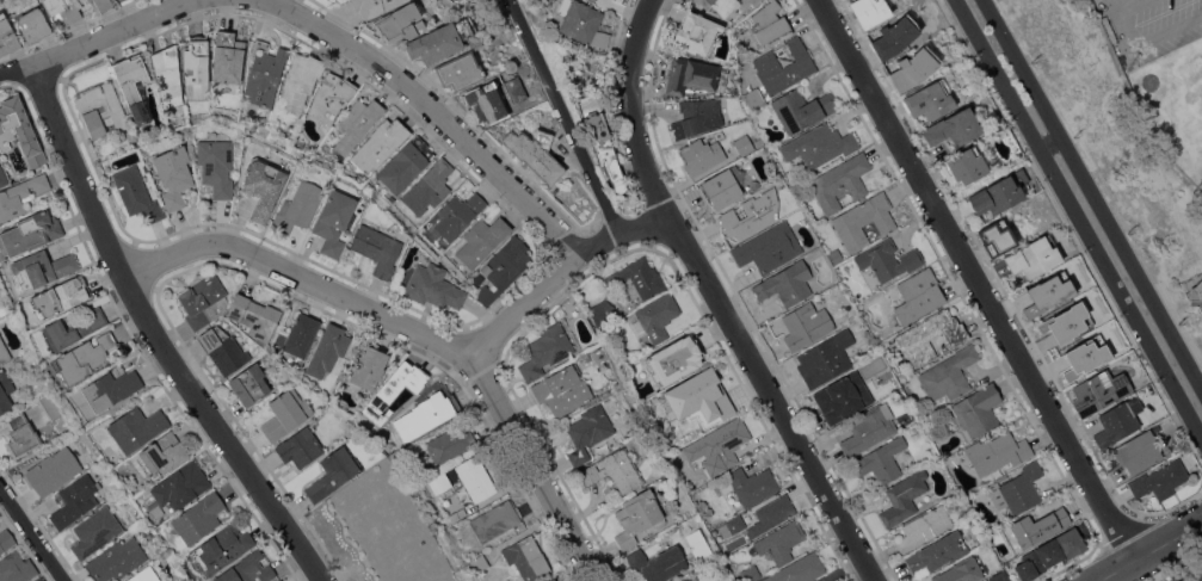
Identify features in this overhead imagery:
building: (80, 0)
building: (87, 0)
building: (122, 1)
building: (103, 4)
building: (725, 5)
building: (374, 6)
building: (62, 8)
building: (868, 11)
building: (400, 21)
building: (580, 21)
building: (769, 21)
building: (32, 24)
parking lot: (1153, 29)
road: (112, 32)
building: (696, 32)
building: (7, 36)
building: (894, 36)
building: (440, 39)
building: (228, 56)
building: (196, 66)
building: (784, 66)
building: (913, 68)
park: (1161, 69)
road: (17, 70)
building: (458, 70)
building: (265, 72)
building: (167, 74)
building: (690, 74)
building: (300, 81)
building: (132, 85)
building: (331, 97)
building: (540, 97)
building: (752, 98)
building: (929, 99)
building: (486, 101)
building: (801, 107)
building: (101, 109)
road: (436, 111)
road: (567, 115)
building: (697, 117)
building: (555, 119)
building: (275, 122)
building: (357, 122)
building: (249, 128)
building: (504, 128)
building: (953, 128)
building: (19, 130)
building: (602, 138)
building: (380, 143)
road: (1049, 143)
building: (744, 144)
building: (819, 144)
building: (152, 146)
building: (535, 153)
building: (701, 155)
building: (406, 163)
building: (216, 165)
building: (962, 166)
building: (173, 175)
building: (2, 177)
building: (840, 181)
building: (263, 185)
building: (429, 186)
building: (723, 186)
building: (999, 192)
building: (136, 193)
road: (1091, 193)
building: (20, 194)
building: (298, 206)
building: (458, 214)
building: (751, 214)
road: (1078, 217)
building: (864, 220)
building: (333, 221)
building: (30, 231)
building: (995, 237)
building: (482, 240)
building: (769, 247)
building: (377, 248)
building: (812, 252)
building: (836, 255)
building: (1034, 255)
building: (886, 260)
building: (42, 267)
building: (504, 267)
building: (486, 268)
road: (563, 270)
road: (303, 277)
building: (640, 277)
road: (979, 278)
building: (785, 283)
building: (433, 285)
building: (1195, 292)
building: (1049, 293)
building: (918, 295)
building: (60, 296)
road: (719, 298)
building: (203, 301)
building: (5, 311)
building: (603, 311)
building: (254, 315)
building: (657, 316)
building: (1066, 323)
building: (805, 326)
building: (73, 328)
building: (301, 333)
road: (159, 334)
building: (930, 335)
building: (223, 348)
building: (327, 350)
building: (545, 350)
building: (4, 352)
building: (84, 357)
building: (674, 358)
building: (825, 358)
building: (1085, 360)
building: (366, 366)
building: (949, 373)
building: (249, 384)
building: (111, 388)
building: (394, 389)
building: (562, 389)
building: (5, 390)
building: (1098, 391)
building: (701, 396)
building: (842, 397)
building: (51, 404)
building: (978, 409)
building: (285, 414)
building: (426, 414)
building: (1115, 424)
building: (136, 427)
building: (868, 428)
building: (587, 432)
building: (20, 434)
building: (685, 438)
building: (727, 440)
building: (451, 443)
building: (298, 447)
building: (668, 447)
building: (1139, 451)
building: (997, 452)
building: (162, 455)
building: (881, 459)
road: (538, 468)
building: (53, 470)
building: (614, 470)
building: (333, 472)
building: (476, 477)
building: (1159, 480)
building: (440, 482)
building: (752, 484)
building: (180, 486)
building: (1016, 488)
building: (904, 497)
building: (75, 499)
building: (771, 514)
building: (198, 517)
building: (637, 517)
building: (494, 520)
building: (732, 525)
building: (923, 527)
building: (1034, 527)
road: (33, 531)
building: (94, 531)
park: (377, 532)
building: (6, 539)
building: (781, 540)
building: (698, 544)
building: (222, 548)
road: (1148, 550)
building: (937, 552)
building: (1049, 554)
building: (526, 557)
building: (116, 558)
building: (994, 560)
building: (481, 561)
building: (658, 562)
building: (16, 567)
building: (247, 569)
building: (800, 569)
building: (963, 570)
building: (751, 573)
building: (143, 574)
building: (999, 576)
building: (1194, 576)
building: (39, 579)
building: (691, 579)
building: (279, 580)
building: (553, 580)

